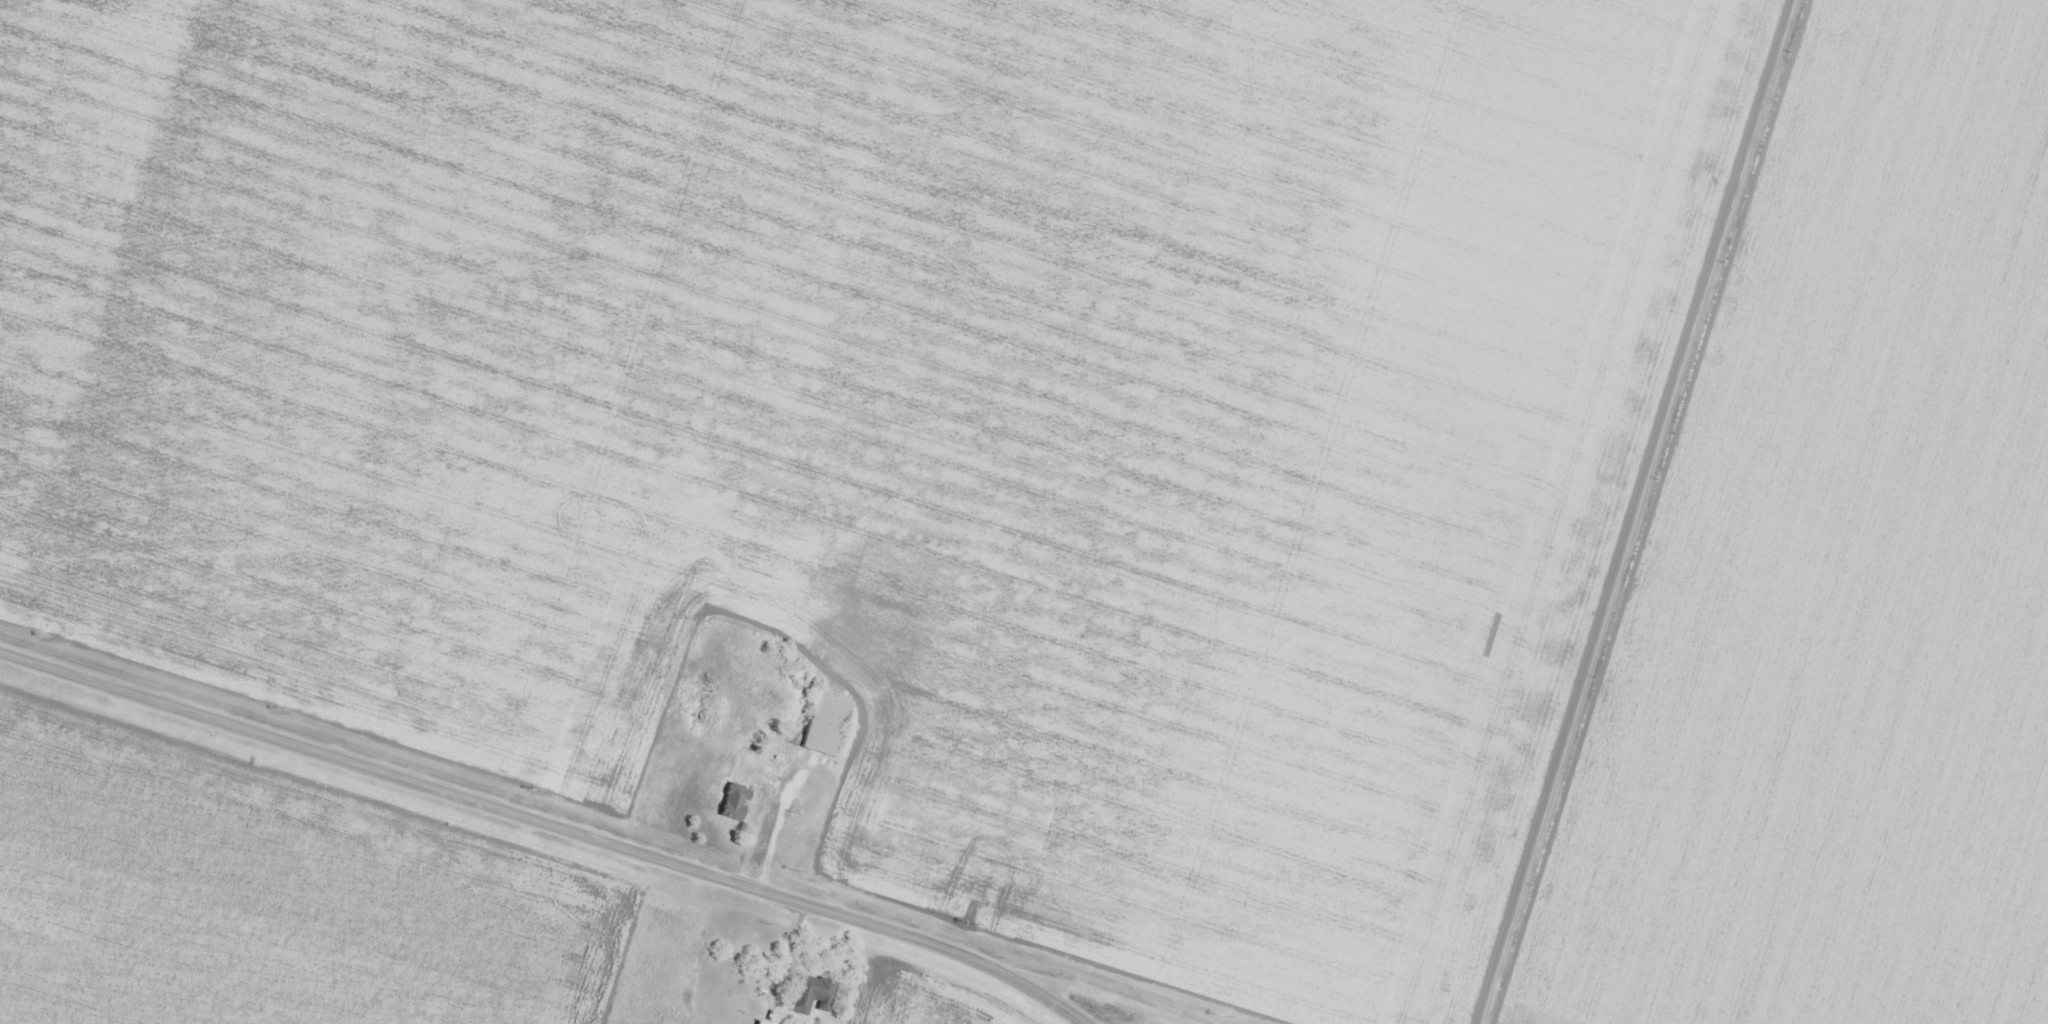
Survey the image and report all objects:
road: (1660, 512)
power tower: (43, 633)
power tower: (276, 706)
building: (825, 724)
power tower: (530, 787)
road: (580, 796)
power tower: (797, 868)
power tower: (966, 923)
road: (1185, 1001)
power tower: (1216, 1016)
building: (759, 1023)

